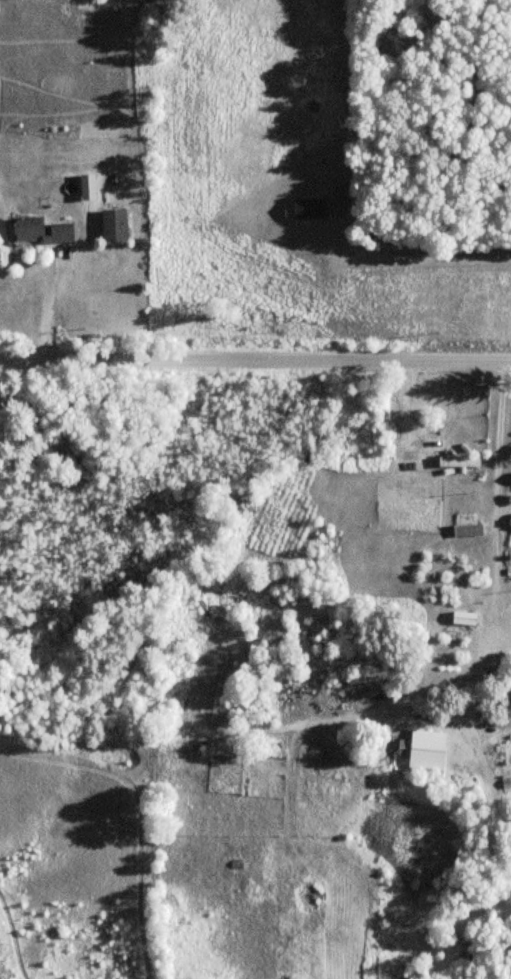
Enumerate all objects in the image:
building: (112, 225)
building: (38, 231)
road: (340, 233)
road: (457, 250)
road: (255, 356)
building: (460, 462)
road: (498, 497)
building: (468, 525)
building: (464, 619)
building: (423, 750)

